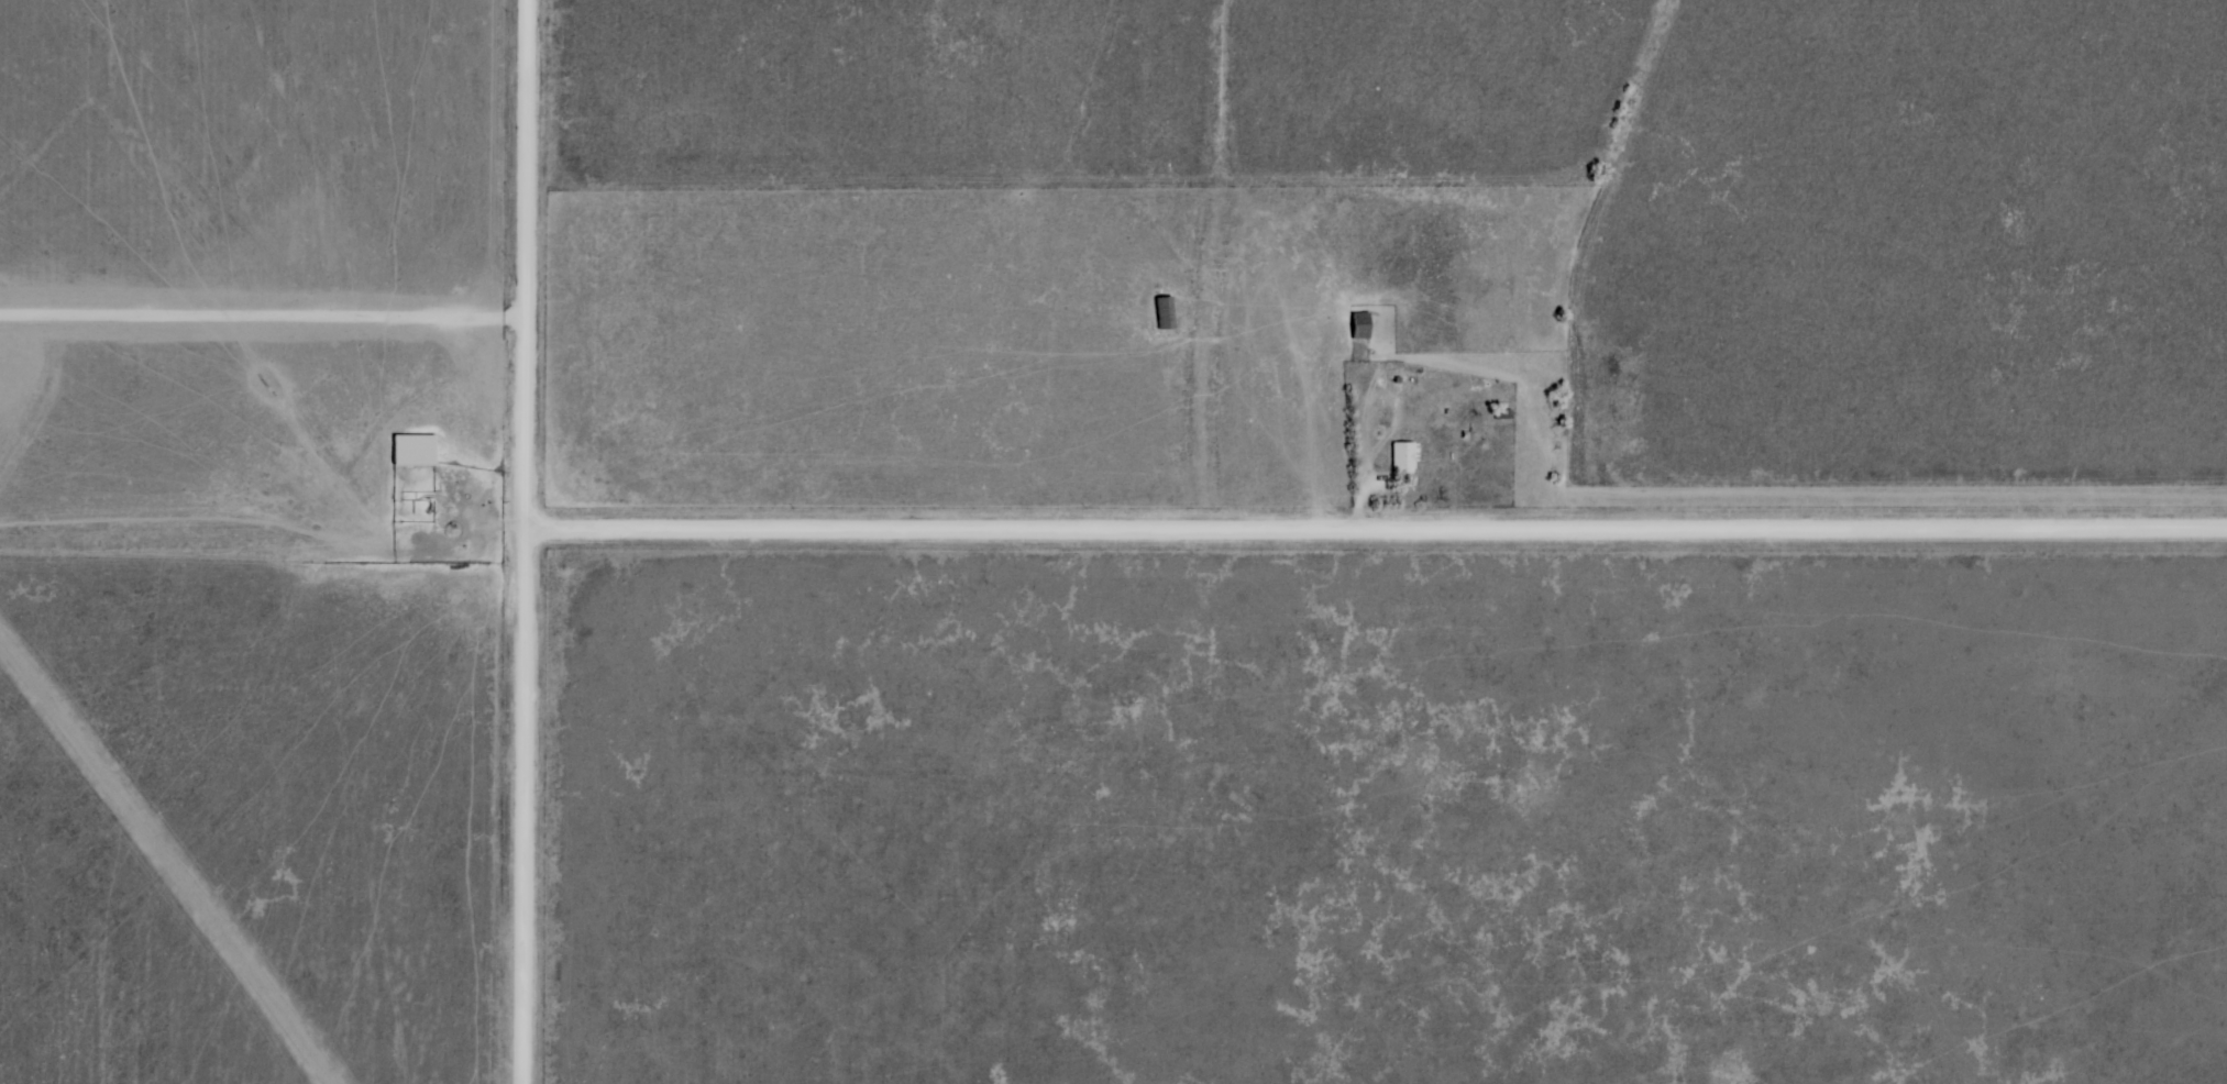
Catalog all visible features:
road: (263, 318)
building: (1404, 460)
road: (1374, 531)
road: (522, 541)

